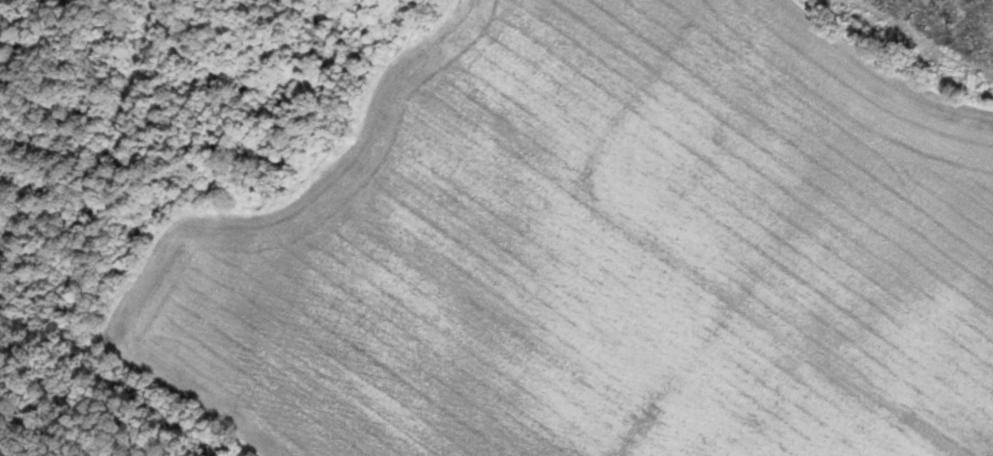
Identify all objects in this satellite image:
road: (663, 268)

